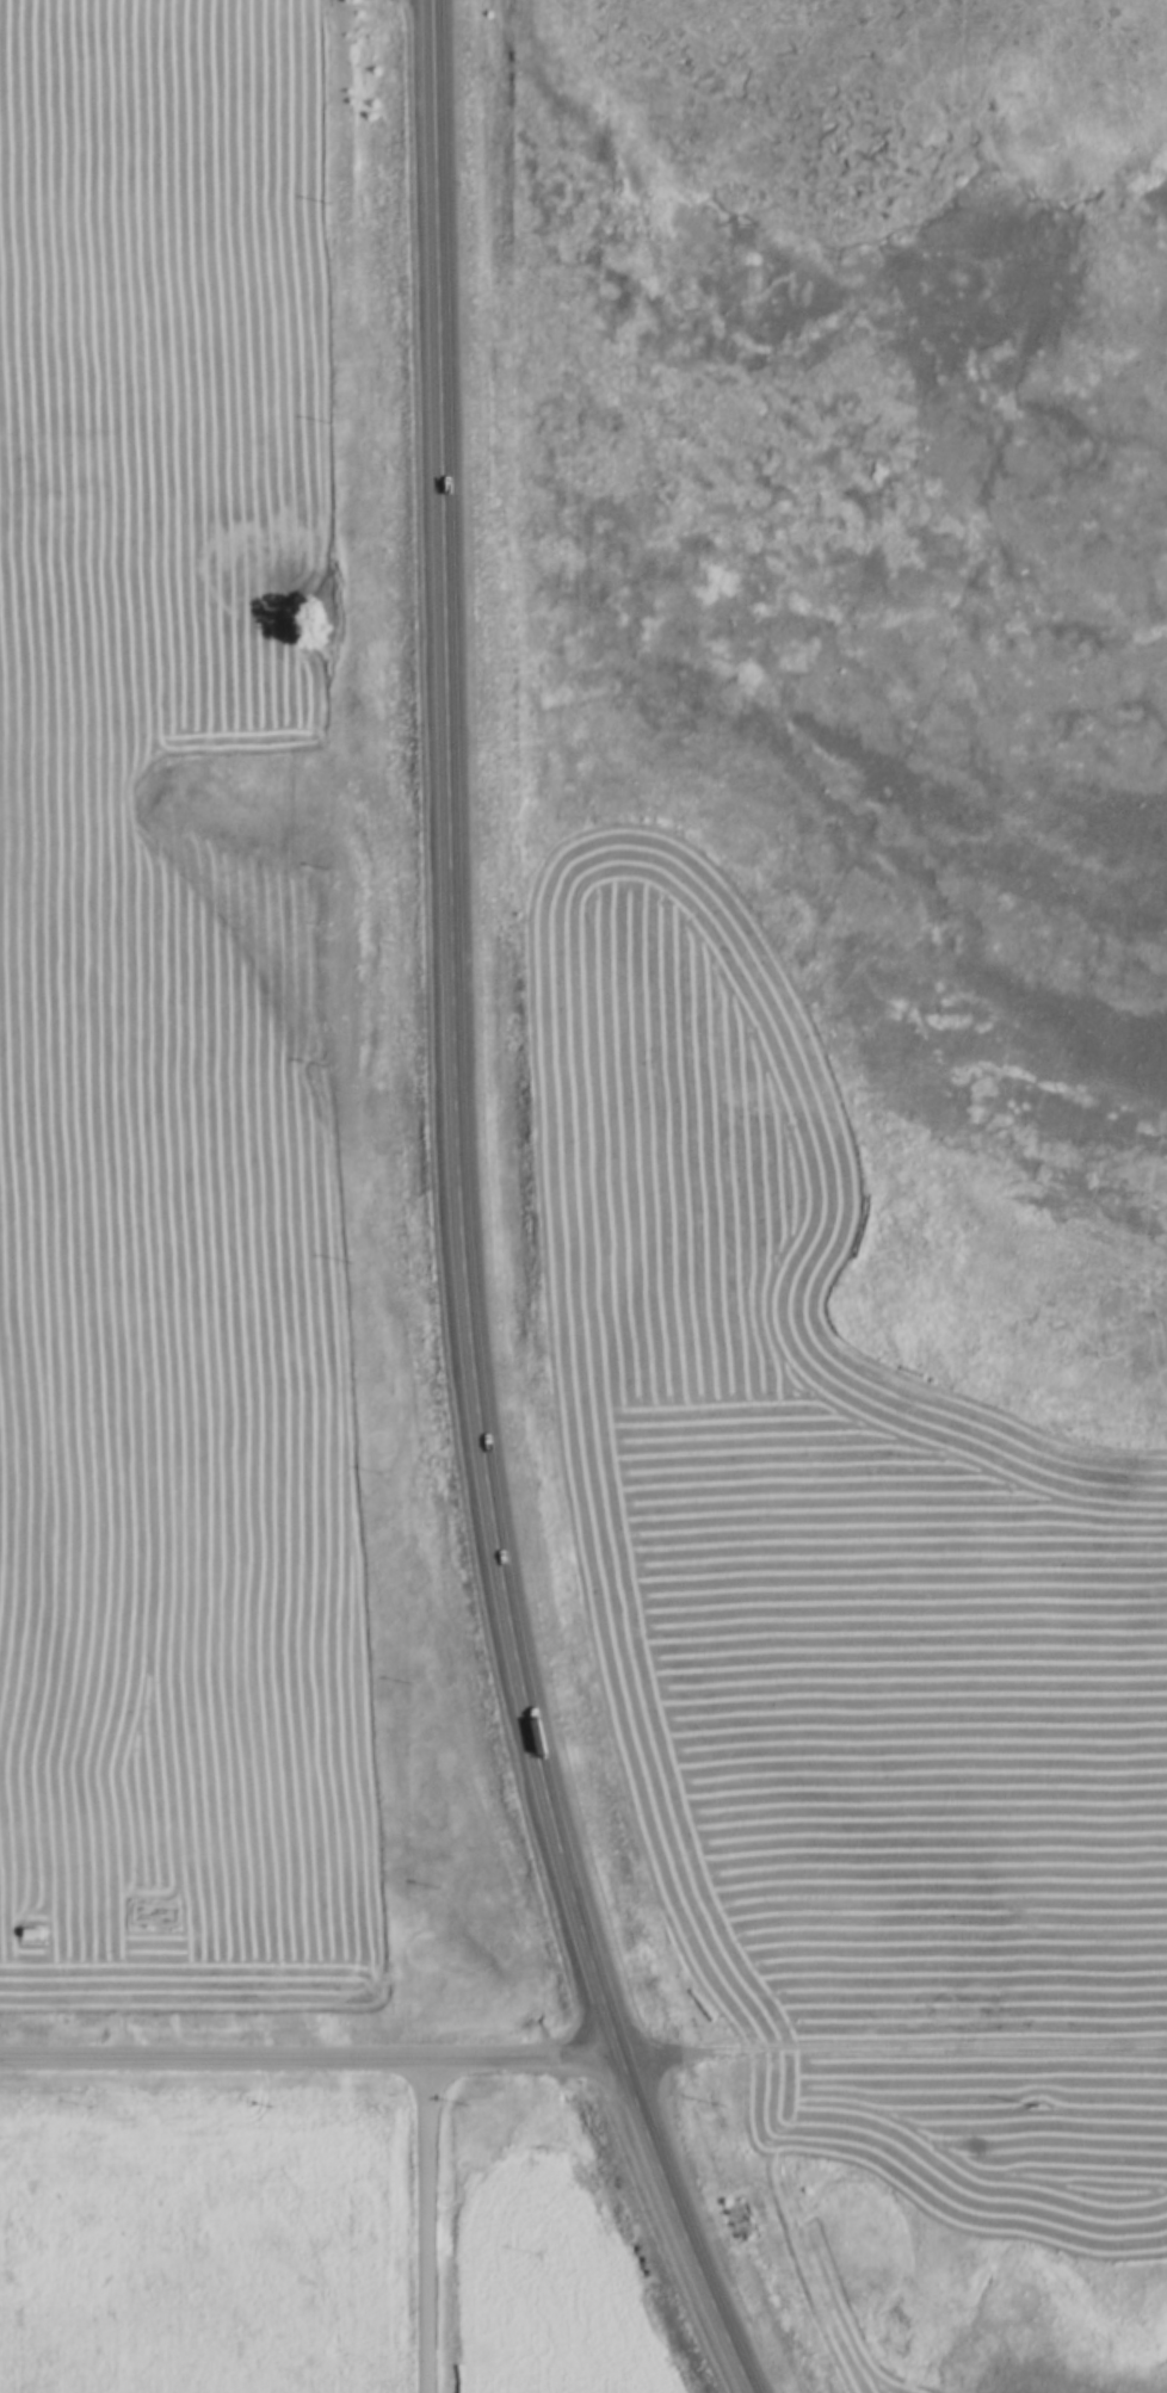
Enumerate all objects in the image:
road: (434, 1219)
road: (888, 2046)
road: (304, 2059)
road: (428, 2226)

